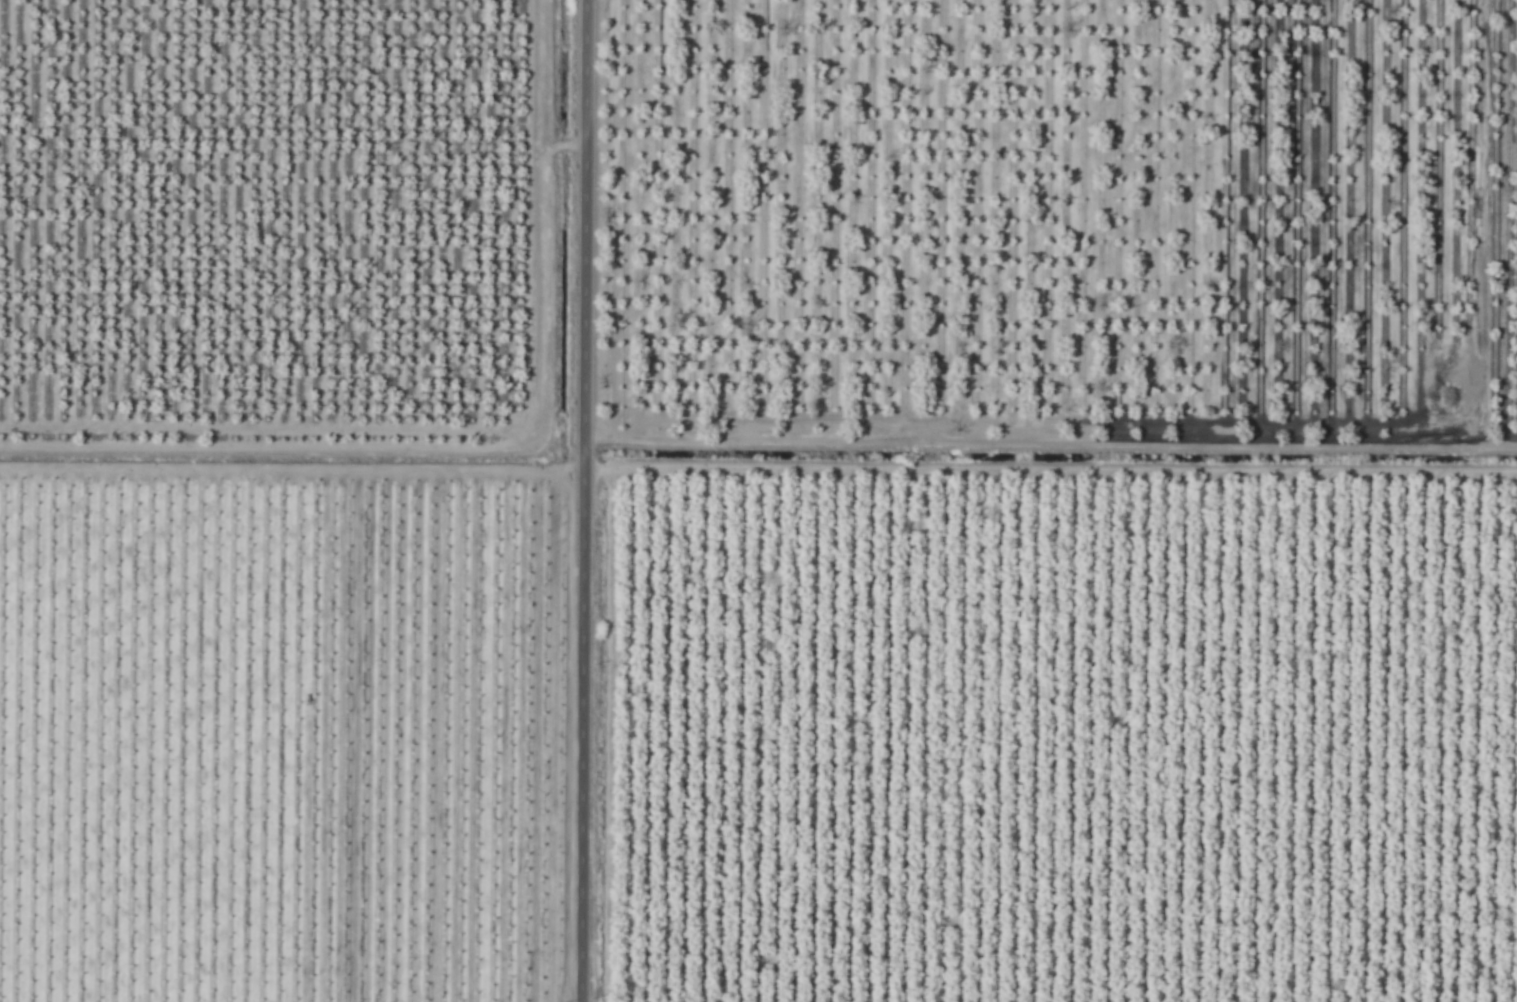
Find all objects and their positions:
road: (590, 500)

